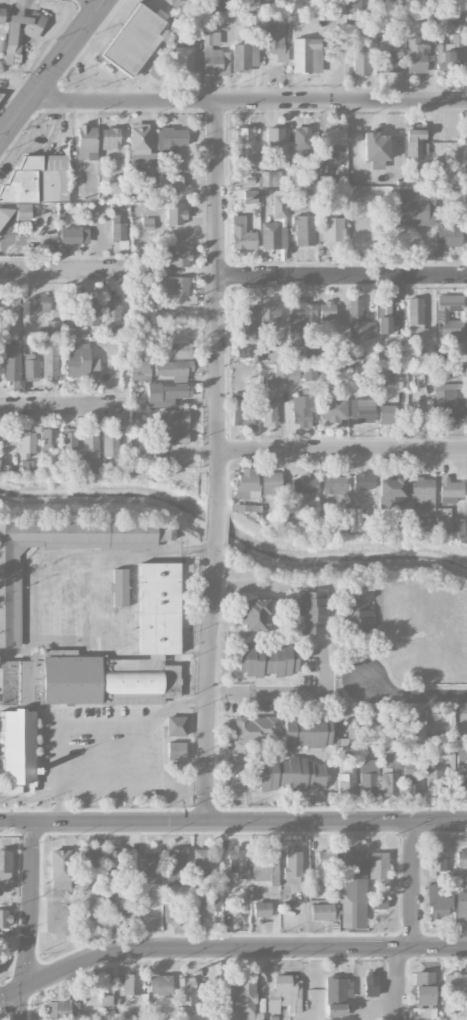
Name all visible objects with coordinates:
building: (352, 4)
building: (2, 15)
building: (354, 20)
building: (340, 22)
building: (20, 35)
building: (191, 35)
building: (133, 39)
building: (275, 39)
building: (213, 55)
building: (306, 55)
building: (416, 55)
building: (243, 57)
building: (360, 60)
building: (183, 61)
building: (389, 61)
road: (53, 70)
road: (248, 102)
building: (274, 136)
building: (334, 136)
building: (110, 138)
building: (171, 139)
building: (465, 139)
building: (86, 141)
building: (301, 141)
building: (415, 144)
building: (244, 145)
building: (375, 149)
building: (142, 154)
building: (269, 178)
building: (244, 179)
building: (170, 180)
building: (35, 185)
building: (249, 196)
building: (279, 206)
building: (412, 207)
building: (175, 214)
building: (147, 224)
building: (117, 227)
building: (332, 229)
building: (303, 230)
building: (449, 232)
building: (466, 233)
building: (241, 234)
building: (270, 235)
building: (73, 236)
building: (175, 257)
road: (55, 270)
road: (342, 276)
building: (171, 286)
building: (41, 303)
road: (217, 303)
building: (111, 308)
building: (384, 309)
building: (326, 310)
building: (11, 312)
building: (85, 314)
building: (415, 314)
building: (442, 315)
building: (466, 315)
building: (269, 316)
building: (245, 320)
building: (301, 320)
building: (359, 321)
building: (384, 325)
building: (53, 327)
building: (179, 350)
building: (245, 352)
building: (81, 361)
building: (12, 362)
building: (50, 363)
building: (466, 366)
building: (30, 367)
building: (173, 367)
building: (139, 371)
building: (168, 391)
building: (449, 400)
road: (63, 406)
building: (241, 408)
building: (333, 409)
building: (303, 410)
building: (362, 410)
building: (269, 412)
building: (386, 412)
building: (465, 413)
building: (174, 427)
building: (48, 439)
building: (68, 439)
building: (26, 442)
building: (109, 443)
building: (148, 447)
building: (90, 451)
road: (342, 451)
building: (364, 480)
building: (272, 482)
building: (246, 484)
building: (304, 484)
building: (334, 484)
building: (391, 490)
building: (450, 490)
building: (422, 493)
building: (466, 496)
building: (449, 523)
road: (215, 525)
road: (123, 554)
building: (119, 587)
building: (9, 598)
building: (358, 611)
building: (312, 612)
building: (255, 614)
building: (110, 657)
building: (267, 659)
road: (205, 683)
road: (284, 693)
road: (413, 696)
road: (88, 721)
building: (176, 726)
building: (414, 729)
building: (256, 730)
building: (308, 730)
building: (442, 743)
building: (390, 749)
building: (176, 750)
building: (17, 751)
building: (461, 756)
building: (411, 773)
building: (288, 774)
building: (367, 777)
building: (346, 778)
building: (432, 780)
building: (463, 781)
building: (389, 783)
road: (131, 785)
road: (233, 820)
building: (87, 858)
building: (325, 859)
building: (461, 859)
building: (237, 861)
building: (436, 861)
building: (200, 862)
building: (115, 863)
building: (147, 863)
building: (5, 865)
building: (260, 865)
building: (176, 866)
building: (292, 866)
building: (378, 868)
building: (60, 870)
road: (413, 884)
building: (355, 888)
building: (139, 901)
building: (378, 902)
building: (437, 902)
building: (213, 903)
road: (32, 904)
building: (461, 906)
building: (170, 908)
building: (261, 909)
building: (122, 911)
building: (322, 912)
building: (4, 918)
road: (228, 949)
building: (453, 981)
building: (370, 983)
road: (401, 984)
building: (160, 985)
building: (131, 986)
building: (187, 991)
building: (285, 993)
building: (337, 995)
building: (423, 996)
building: (243, 1002)
road: (22, 1005)
building: (107, 1006)
building: (60, 1009)

